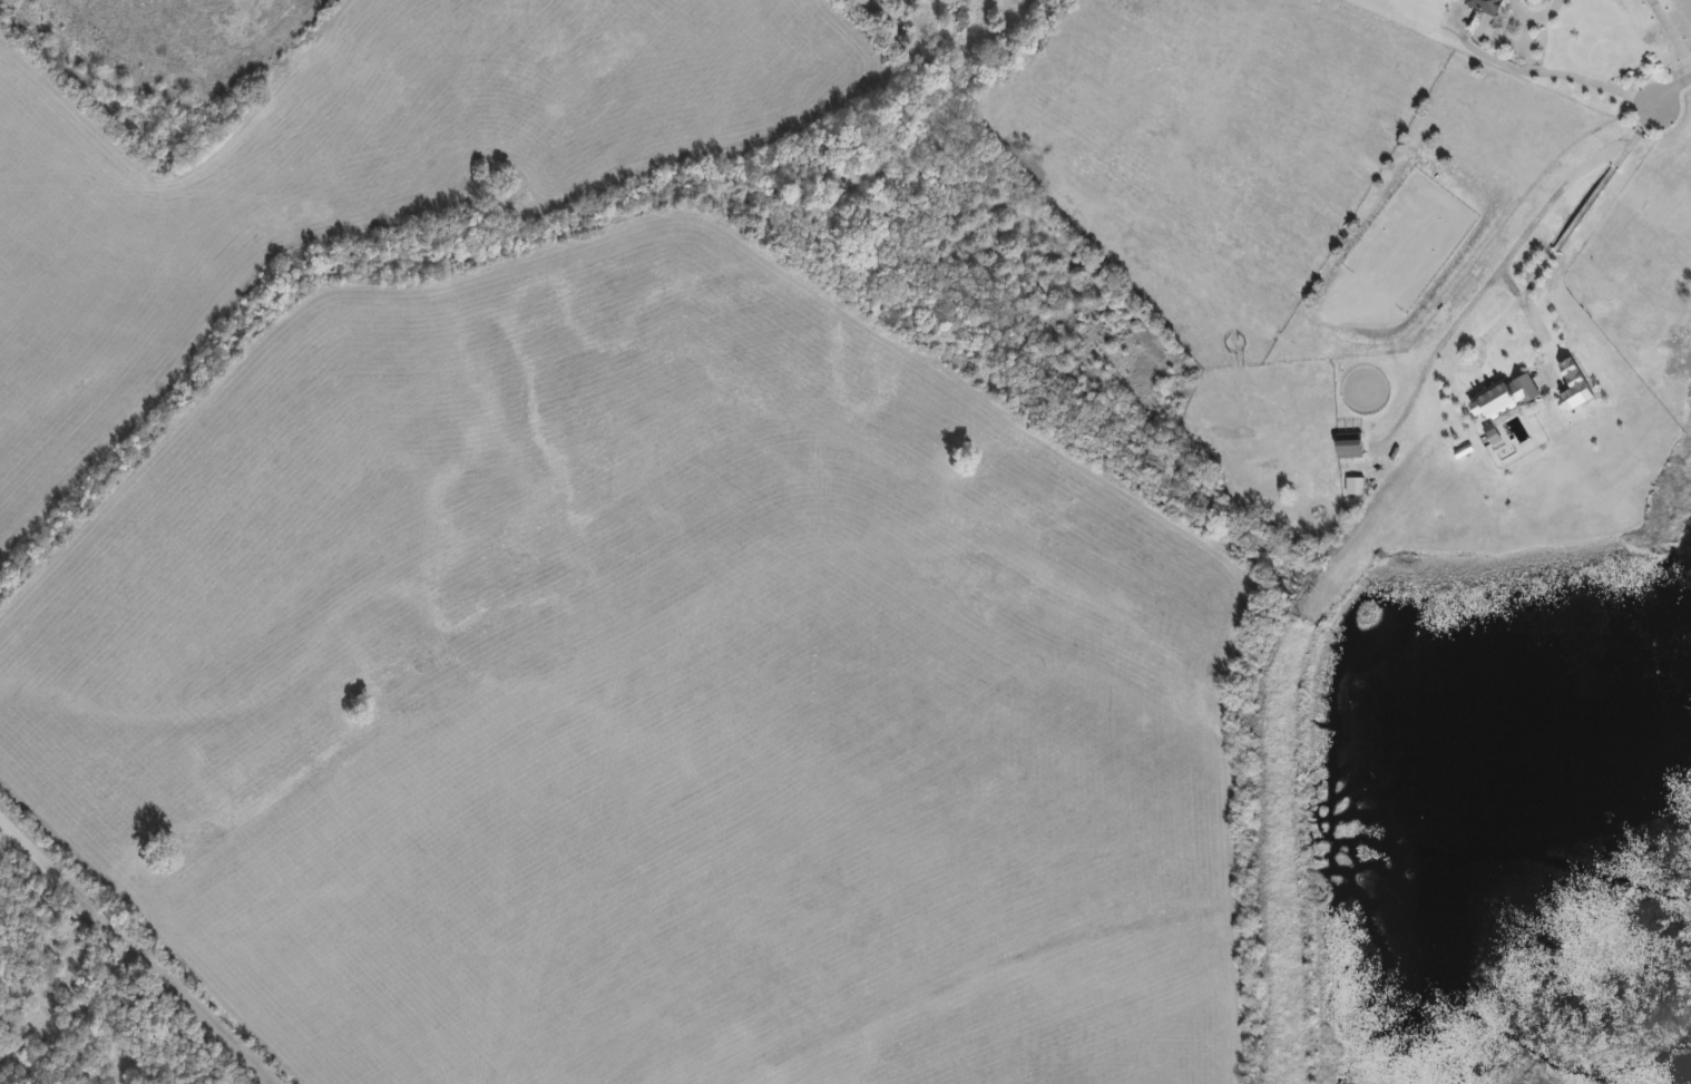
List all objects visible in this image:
road: (1671, 32)
road: (1551, 71)
road: (1672, 91)
road: (1566, 234)
road: (1498, 271)
building: (1505, 399)
building: (1349, 447)
building: (1356, 488)
road: (129, 955)

